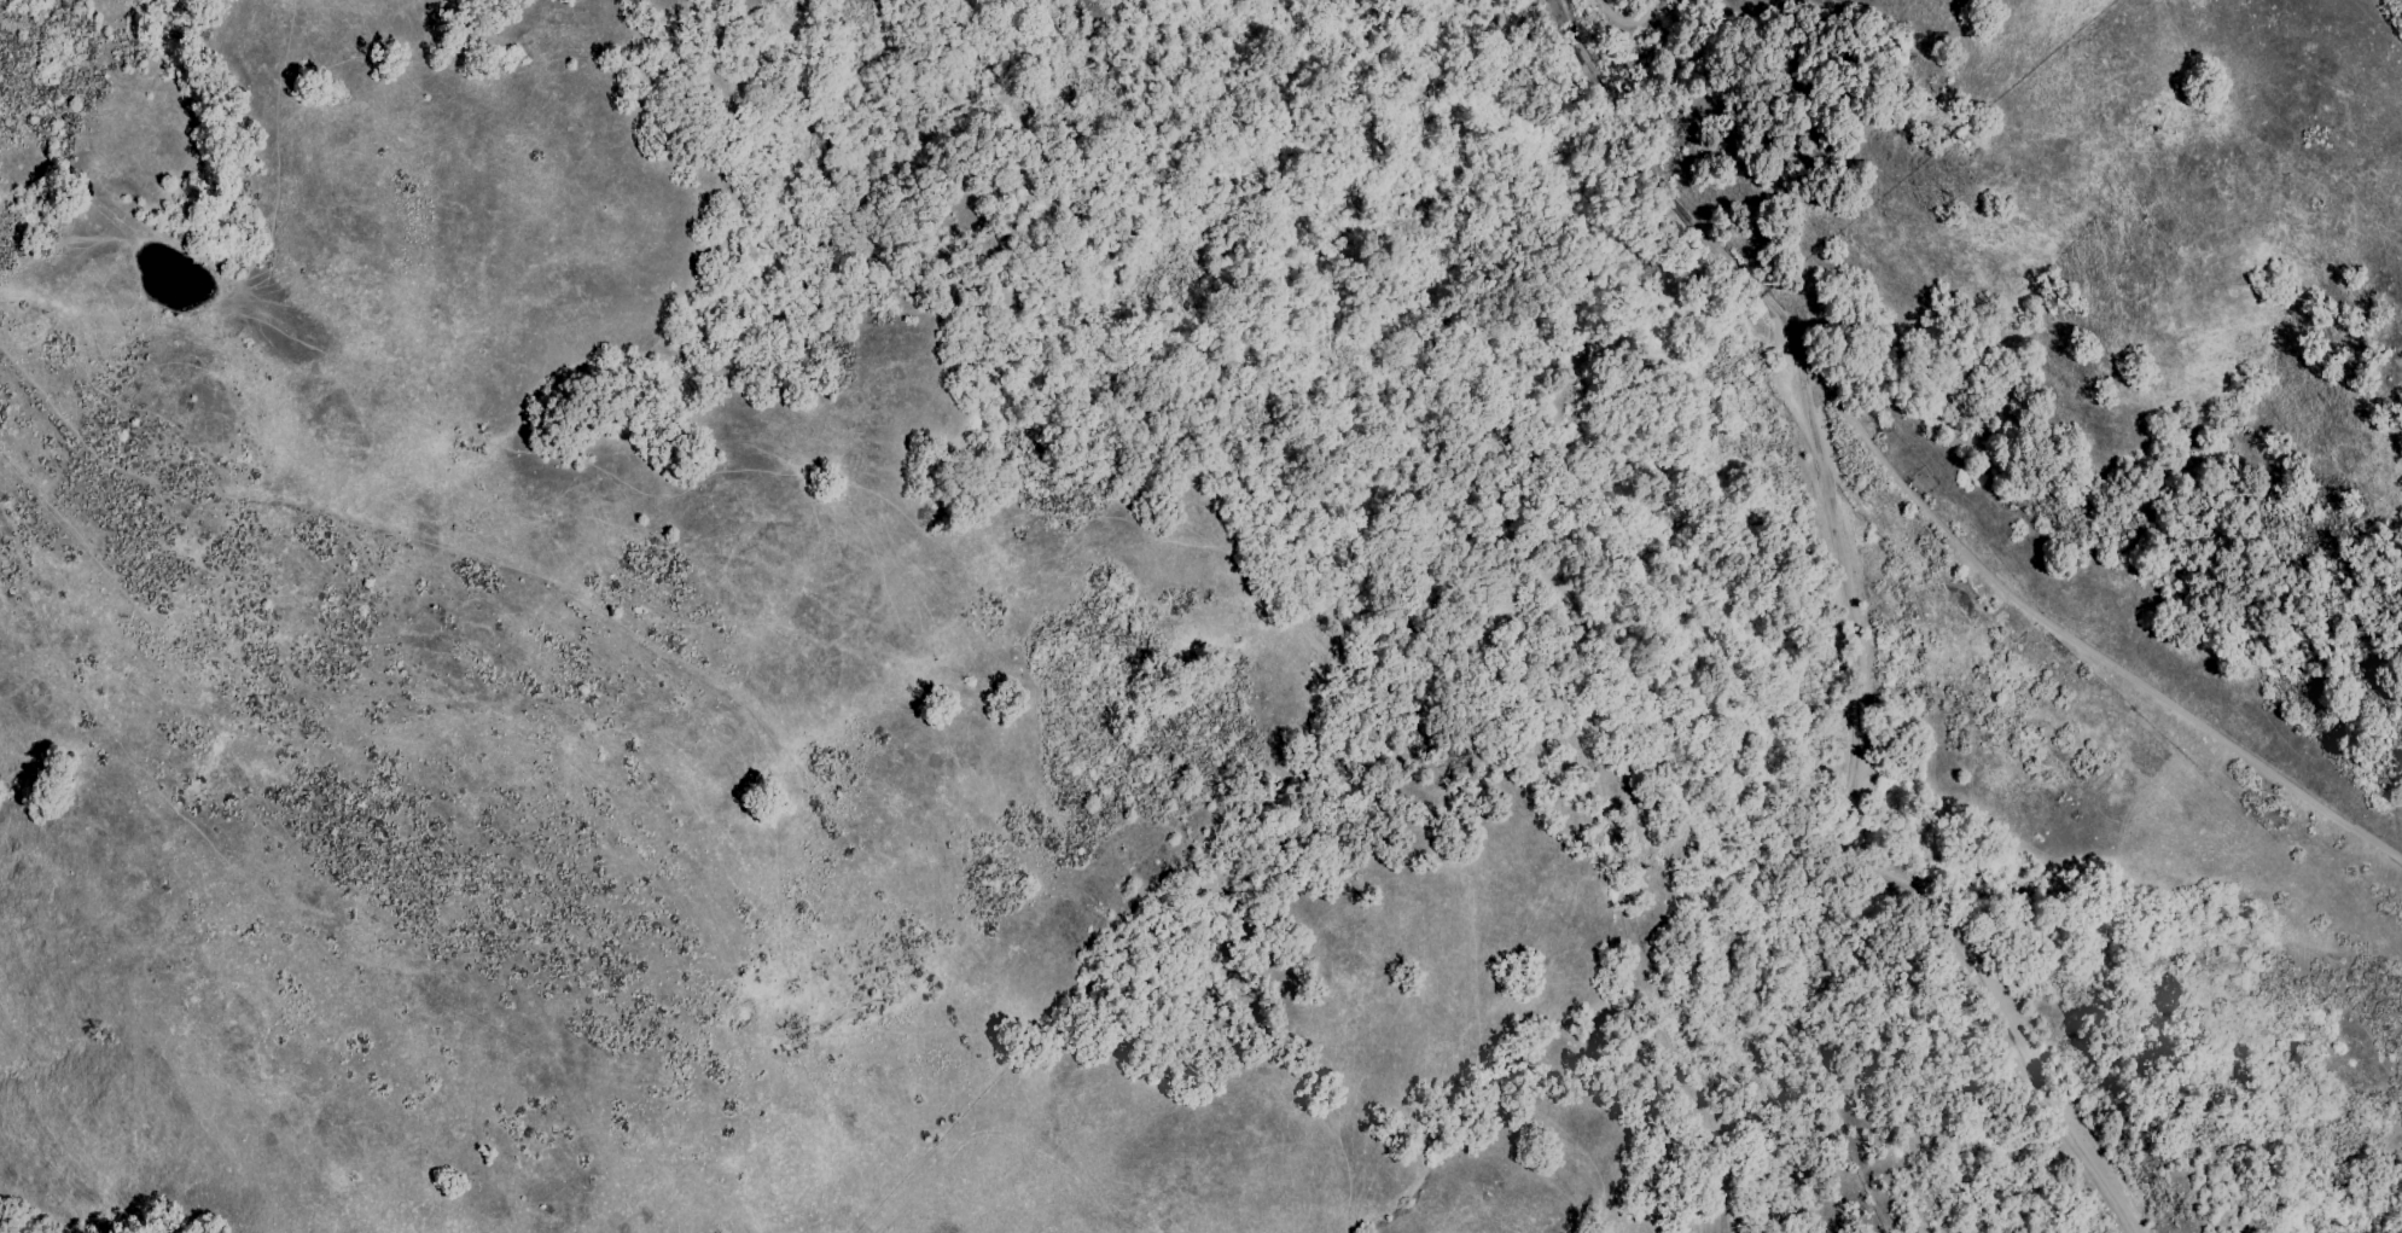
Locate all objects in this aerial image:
road: (1855, 618)
road: (2070, 622)

